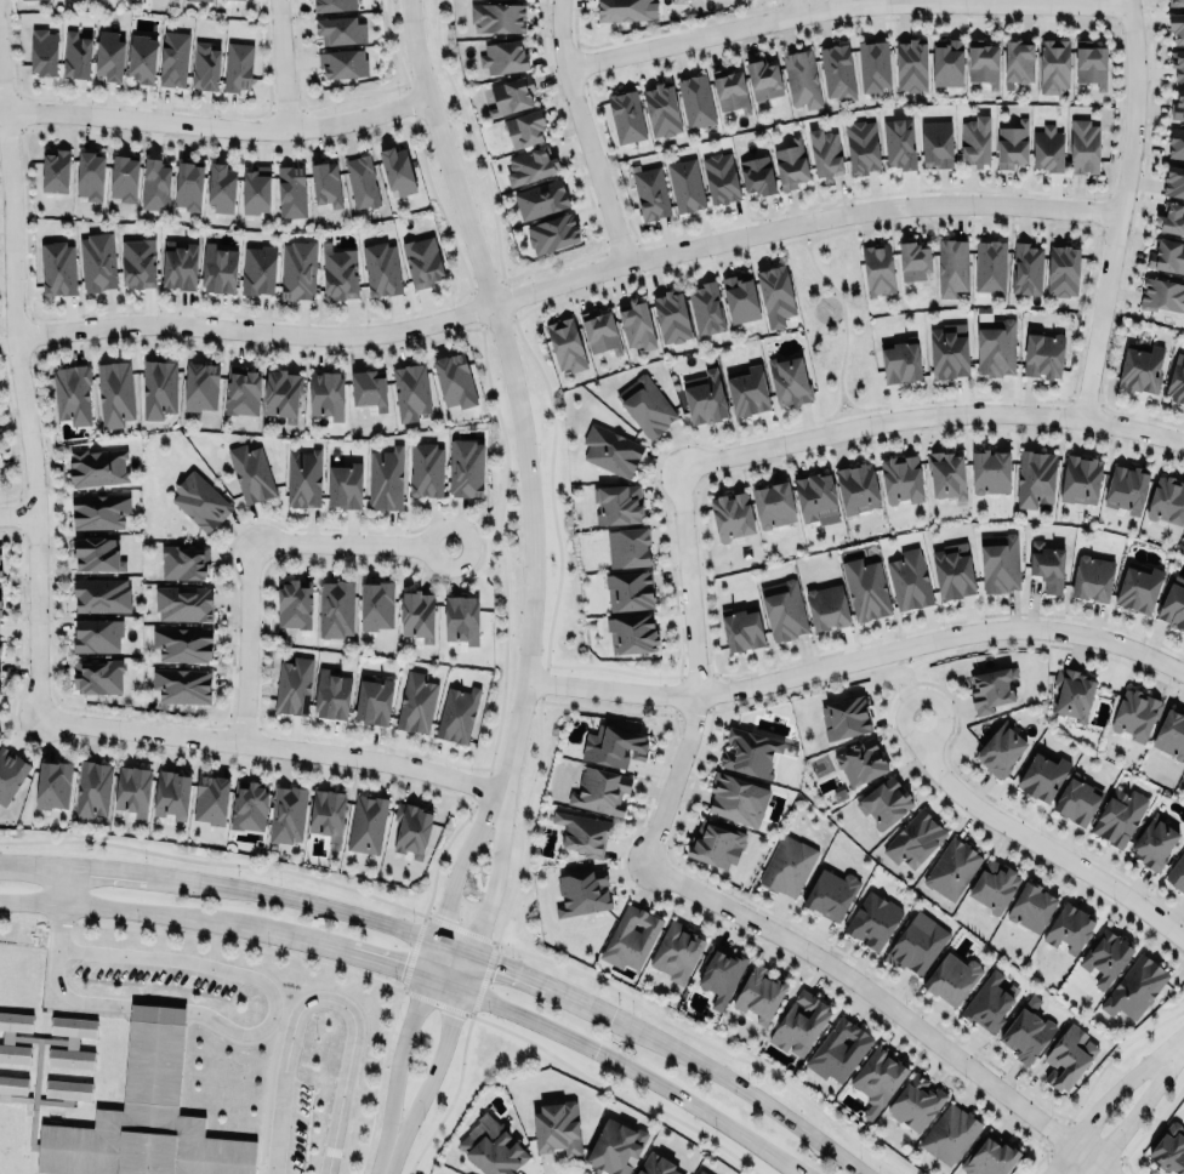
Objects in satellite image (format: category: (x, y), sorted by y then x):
building: (205, 0)
road: (907, 1)
building: (1176, 1)
building: (334, 2)
road: (797, 7)
road: (844, 7)
building: (625, 8)
building: (497, 17)
building: (1176, 23)
building: (340, 28)
building: (42, 52)
building: (75, 52)
building: (108, 55)
building: (503, 55)
building: (141, 57)
building: (172, 57)
building: (1018, 59)
building: (983, 61)
building: (946, 62)
building: (1178, 62)
building: (342, 63)
building: (911, 63)
building: (1053, 63)
building: (1089, 63)
building: (873, 65)
building: (238, 67)
building: (205, 68)
road: (278, 68)
building: (836, 69)
building: (763, 78)
building: (801, 79)
building: (730, 90)
building: (511, 95)
building: (696, 99)
building: (1178, 103)
building: (661, 108)
building: (626, 116)
building: (525, 129)
road: (582, 131)
road: (214, 133)
building: (899, 141)
building: (975, 141)
building: (1176, 141)
building: (937, 142)
building: (1012, 143)
building: (1083, 144)
building: (861, 146)
building: (1047, 148)
building: (825, 150)
building: (790, 164)
building: (530, 165)
building: (397, 169)
building: (55, 171)
building: (757, 172)
building: (90, 175)
building: (123, 177)
building: (719, 177)
building: (1173, 178)
building: (325, 182)
building: (362, 182)
building: (684, 183)
building: (154, 184)
building: (188, 184)
building: (221, 184)
building: (256, 189)
building: (291, 190)
building: (649, 190)
building: (540, 196)
road: (1120, 207)
building: (1171, 216)
road: (818, 232)
building: (552, 233)
building: (1167, 253)
building: (913, 258)
building: (96, 261)
building: (422, 261)
building: (137, 263)
building: (178, 263)
building: (217, 266)
building: (951, 266)
building: (989, 266)
building: (297, 267)
building: (57, 268)
building: (877, 268)
building: (1026, 268)
building: (1063, 268)
building: (258, 269)
building: (338, 269)
building: (381, 269)
road: (567, 278)
building: (775, 293)
building: (1161, 293)
building: (740, 297)
building: (706, 307)
building: (671, 314)
road: (843, 319)
building: (636, 325)
building: (599, 330)
building: (565, 342)
building: (996, 344)
building: (949, 348)
building: (1042, 354)
building: (900, 360)
building: (1140, 366)
building: (452, 375)
building: (1176, 378)
building: (789, 380)
road: (22, 384)
building: (200, 384)
building: (369, 386)
building: (158, 388)
building: (410, 389)
road: (511, 389)
building: (747, 389)
building: (241, 391)
building: (281, 392)
building: (326, 392)
building: (114, 393)
building: (72, 394)
building: (704, 395)
building: (645, 404)
road: (860, 409)
road: (929, 414)
building: (610, 450)
building: (96, 465)
building: (465, 466)
building: (425, 467)
building: (987, 468)
building: (244, 471)
building: (946, 473)
building: (302, 475)
building: (1034, 475)
building: (901, 477)
building: (1077, 477)
building: (385, 478)
building: (345, 484)
building: (1126, 485)
building: (856, 486)
building: (815, 494)
building: (1166, 497)
building: (194, 500)
building: (773, 502)
building: (617, 503)
building: (98, 509)
building: (732, 515)
road: (18, 518)
road: (489, 534)
road: (347, 542)
building: (627, 545)
building: (96, 552)
building: (997, 560)
building: (183, 562)
building: (1046, 563)
building: (951, 569)
building: (0, 570)
building: (1092, 575)
building: (909, 580)
building: (1137, 586)
building: (865, 587)
building: (628, 589)
building: (101, 594)
building: (182, 602)
building: (1173, 602)
building: (0, 603)
building: (289, 603)
building: (376, 603)
building: (822, 604)
building: (335, 606)
building: (782, 608)
building: (417, 615)
building: (461, 616)
building: (742, 629)
building: (632, 633)
building: (96, 636)
road: (246, 639)
building: (182, 642)
road: (858, 657)
road: (698, 668)
road: (910, 669)
building: (97, 676)
road: (932, 677)
building: (182, 684)
building: (292, 685)
building: (990, 685)
building: (1072, 691)
building: (331, 694)
building: (372, 701)
building: (416, 702)
building: (1134, 712)
building: (456, 713)
building: (844, 717)
building: (1169, 733)
road: (272, 743)
building: (613, 745)
building: (998, 747)
building: (748, 752)
building: (860, 762)
building: (10, 771)
building: (1042, 775)
building: (52, 785)
building: (92, 787)
building: (129, 787)
building: (598, 788)
building: (171, 791)
building: (210, 797)
building: (736, 797)
building: (1077, 799)
building: (883, 802)
building: (249, 803)
building: (326, 811)
building: (286, 813)
building: (1118, 815)
building: (362, 822)
building: (411, 828)
building: (582, 831)
building: (915, 838)
building: (1152, 840)
building: (715, 842)
road: (1034, 842)
road: (462, 860)
building: (787, 865)
road: (99, 866)
building: (951, 867)
road: (495, 872)
building: (1177, 873)
road: (66, 883)
building: (992, 884)
building: (582, 890)
building: (830, 893)
road: (320, 902)
building: (1030, 905)
road: (150, 911)
building: (872, 918)
building: (1069, 928)
building: (630, 936)
building: (916, 942)
road: (455, 945)
building: (676, 951)
building: (1104, 954)
road: (363, 956)
road: (431, 957)
road: (228, 970)
road: (466, 970)
building: (719, 974)
building: (952, 976)
road: (55, 982)
road: (443, 982)
road: (558, 986)
building: (1134, 987)
building: (757, 992)
building: (986, 1002)
road: (884, 1003)
road: (158, 1008)
road: (284, 1014)
building: (798, 1021)
building: (1026, 1031)
building: (7, 1037)
building: (72, 1042)
building: (838, 1049)
building: (1068, 1055)
road: (347, 1060)
road: (397, 1065)
road: (636, 1070)
road: (429, 1076)
building: (877, 1078)
building: (12, 1085)
building: (67, 1090)
road: (280, 1094)
road: (757, 1095)
road: (1109, 1099)
building: (915, 1101)
road: (1140, 1109)
building: (143, 1122)
building: (556, 1128)
building: (950, 1133)
building: (491, 1146)
building: (614, 1147)
building: (1169, 1149)
building: (990, 1155)
building: (655, 1164)
road: (385, 1166)
building: (700, 1172)

